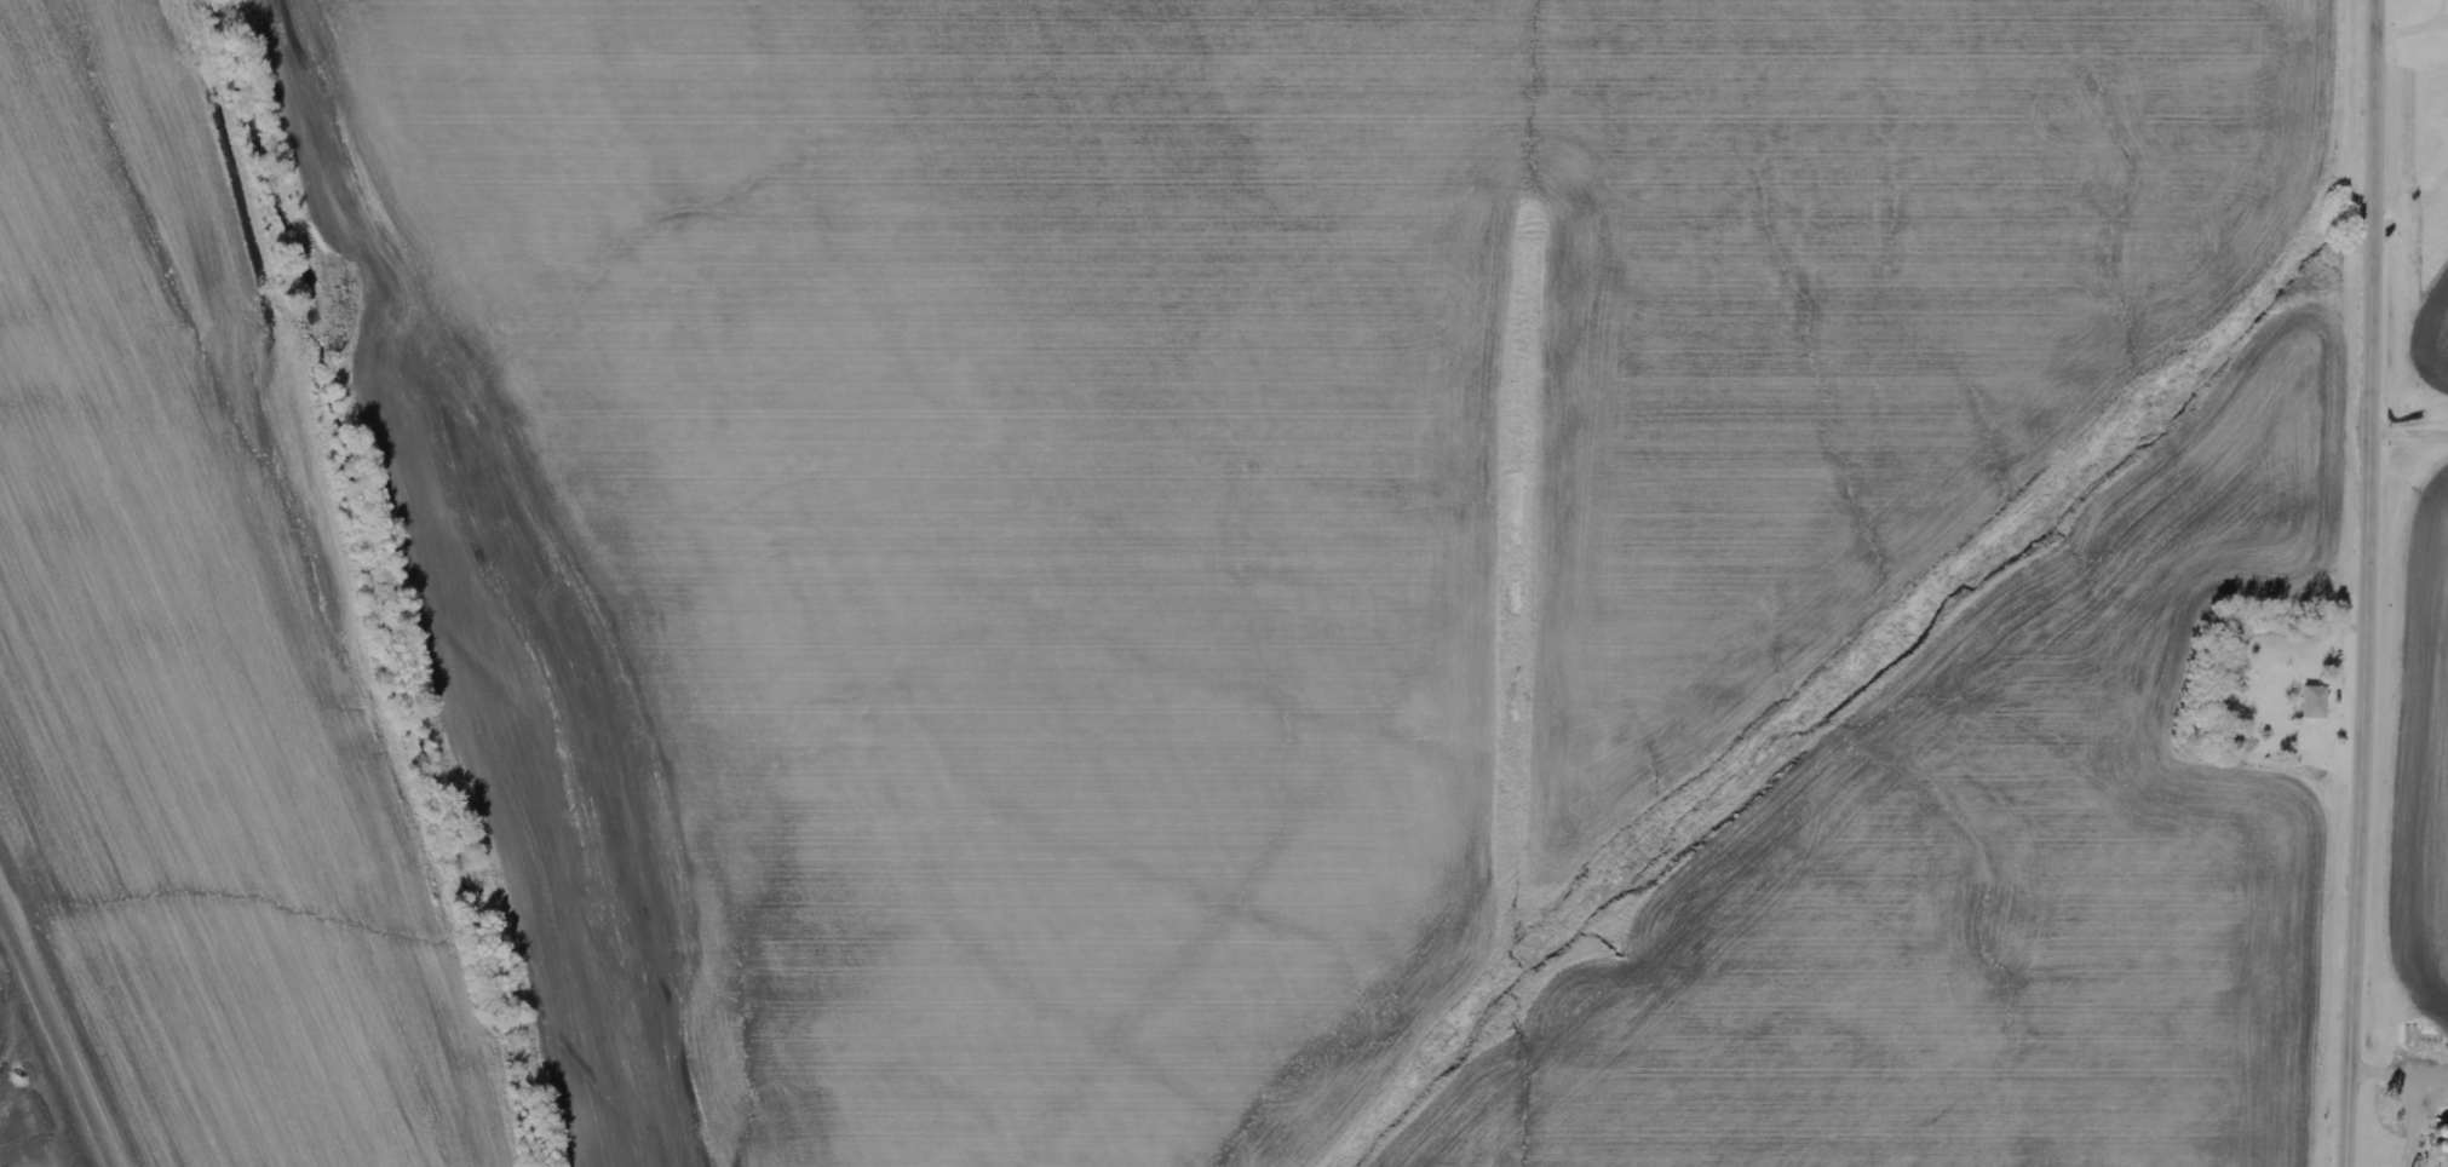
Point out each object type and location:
road: (2410, 437)
road: (2371, 583)
building: (2318, 703)

